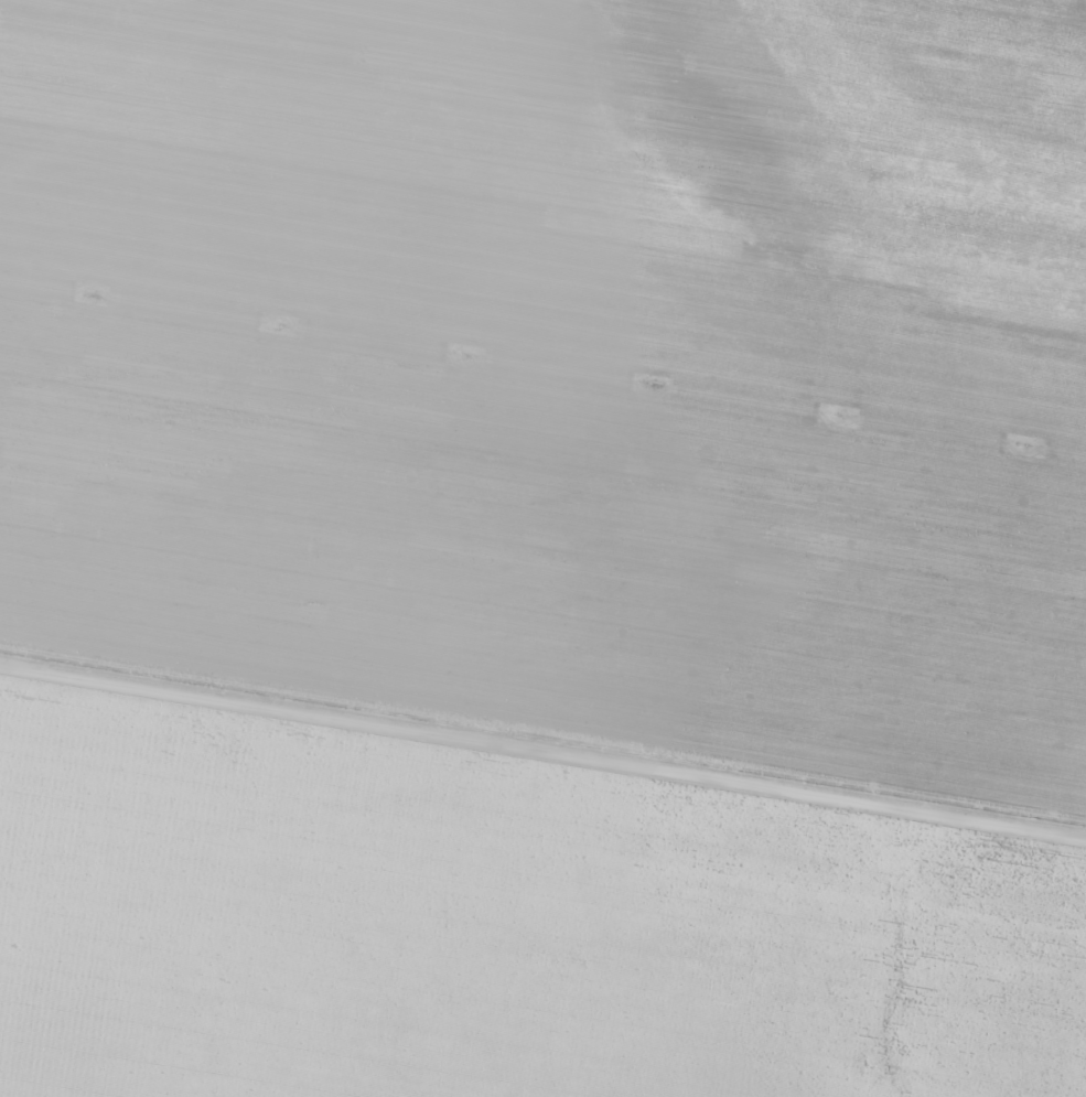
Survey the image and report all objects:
road: (542, 754)

